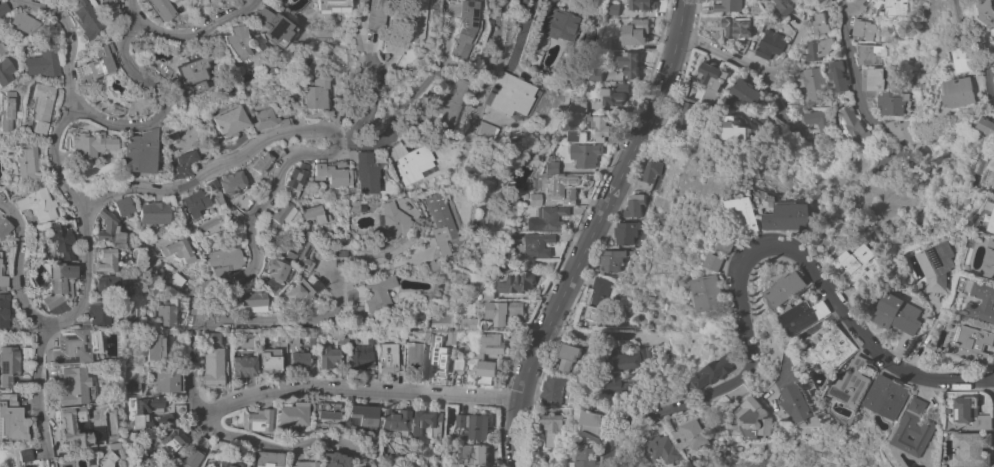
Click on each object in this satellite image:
building: (639, 4)
building: (331, 5)
road: (848, 5)
building: (729, 6)
building: (785, 6)
building: (872, 6)
building: (3, 7)
building: (897, 7)
building: (110, 8)
building: (161, 9)
building: (613, 9)
building: (988, 10)
road: (130, 11)
building: (376, 14)
building: (86, 18)
building: (759, 19)
building: (414, 20)
building: (24, 21)
building: (818, 24)
building: (560, 25)
building: (273, 26)
building: (736, 27)
building: (54, 28)
building: (862, 28)
building: (462, 29)
building: (635, 32)
road: (520, 33)
road: (69, 37)
building: (239, 42)
building: (603, 43)
building: (769, 44)
building: (393, 46)
road: (979, 47)
building: (2, 48)
building: (820, 50)
building: (870, 53)
building: (965, 57)
road: (126, 58)
building: (886, 61)
building: (43, 62)
road: (747, 63)
building: (96, 64)
building: (628, 64)
road: (852, 65)
building: (544, 70)
building: (6, 71)
building: (192, 73)
building: (839, 75)
building: (595, 76)
building: (874, 79)
building: (710, 82)
building: (813, 83)
building: (141, 92)
building: (747, 92)
building: (960, 92)
building: (317, 93)
building: (614, 94)
building: (872, 94)
building: (512, 97)
building: (728, 102)
building: (894, 102)
building: (445, 103)
road: (371, 104)
building: (580, 105)
building: (41, 108)
building: (117, 108)
building: (8, 110)
building: (684, 115)
building: (816, 116)
building: (266, 120)
building: (433, 120)
building: (230, 121)
building: (596, 124)
building: (852, 124)
building: (987, 127)
building: (485, 129)
building: (738, 129)
building: (899, 130)
building: (813, 133)
building: (92, 143)
road: (365, 146)
building: (518, 150)
building: (140, 151)
road: (306, 152)
building: (585, 154)
road: (57, 157)
building: (267, 158)
building: (27, 161)
building: (410, 162)
building: (182, 164)
building: (552, 167)
building: (366, 173)
building: (331, 174)
building: (649, 174)
building: (297, 177)
building: (231, 183)
building: (564, 188)
building: (11, 191)
building: (535, 199)
building: (195, 202)
building: (243, 204)
building: (633, 205)
building: (37, 206)
building: (124, 206)
building: (153, 213)
building: (314, 214)
building: (280, 215)
building: (746, 215)
building: (788, 215)
building: (550, 217)
building: (393, 220)
building: (440, 222)
building: (992, 223)
building: (4, 227)
building: (109, 228)
road: (590, 232)
building: (629, 233)
building: (61, 241)
building: (728, 243)
building: (537, 245)
building: (341, 247)
building: (177, 250)
road: (750, 251)
building: (301, 253)
road: (385, 253)
building: (0, 255)
building: (108, 259)
building: (616, 259)
building: (224, 260)
building: (717, 262)
building: (989, 262)
road: (16, 266)
road: (384, 266)
building: (937, 266)
building: (860, 267)
building: (278, 270)
building: (2, 277)
building: (175, 281)
building: (517, 282)
building: (58, 283)
building: (108, 284)
building: (477, 284)
building: (785, 289)
building: (130, 290)
building: (302, 292)
building: (711, 292)
building: (379, 293)
building: (597, 300)
building: (255, 301)
building: (981, 302)
building: (130, 305)
building: (220, 305)
building: (503, 308)
building: (4, 309)
building: (171, 309)
building: (99, 312)
building: (354, 313)
building: (896, 313)
building: (803, 315)
building: (469, 324)
road: (289, 325)
road: (46, 326)
building: (456, 327)
building: (369, 337)
building: (400, 337)
building: (451, 337)
road: (598, 337)
building: (282, 338)
building: (342, 338)
building: (313, 339)
building: (970, 343)
building: (488, 344)
building: (74, 346)
building: (154, 348)
building: (831, 349)
building: (416, 351)
building: (298, 354)
building: (328, 355)
building: (360, 356)
building: (388, 357)
building: (566, 357)
building: (270, 358)
building: (214, 360)
building: (439, 361)
building: (8, 364)
building: (458, 364)
building: (244, 365)
building: (627, 367)
building: (718, 369)
building: (487, 371)
building: (169, 379)
building: (852, 382)
building: (130, 384)
building: (77, 386)
road: (358, 389)
building: (553, 389)
building: (739, 392)
building: (887, 396)
building: (798, 403)
building: (142, 409)
building: (179, 409)
building: (327, 410)
building: (971, 411)
building: (293, 414)
building: (365, 415)
building: (757, 416)
building: (11, 419)
building: (258, 420)
building: (396, 420)
building: (426, 423)
building: (599, 424)
building: (68, 426)
building: (471, 427)
building: (552, 427)
building: (661, 428)
building: (914, 429)
building: (699, 435)
building: (166, 440)
building: (203, 442)
road: (277, 448)
building: (672, 448)
building: (973, 449)
building: (475, 454)
building: (25, 455)
building: (110, 456)
building: (591, 457)
building: (188, 458)
building: (269, 459)
building: (331, 460)
building: (304, 461)
building: (228, 464)
building: (366, 464)
building: (456, 465)
building: (28, 466)

